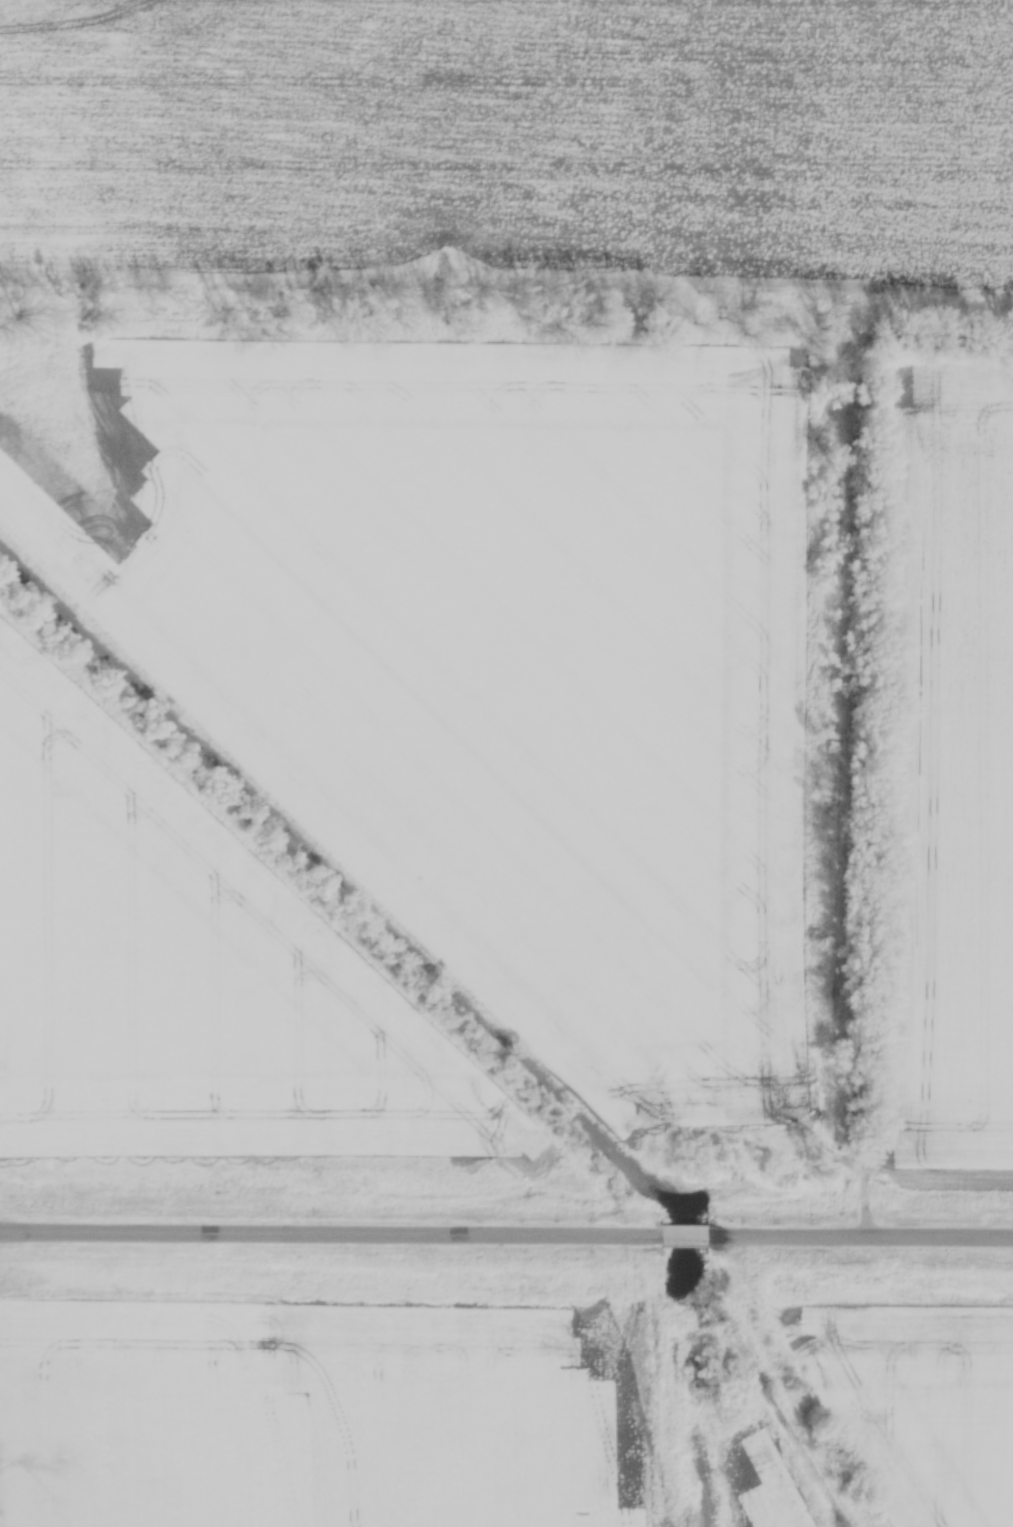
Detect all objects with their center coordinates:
road: (333, 1234)
road: (686, 1238)
road: (858, 1239)

